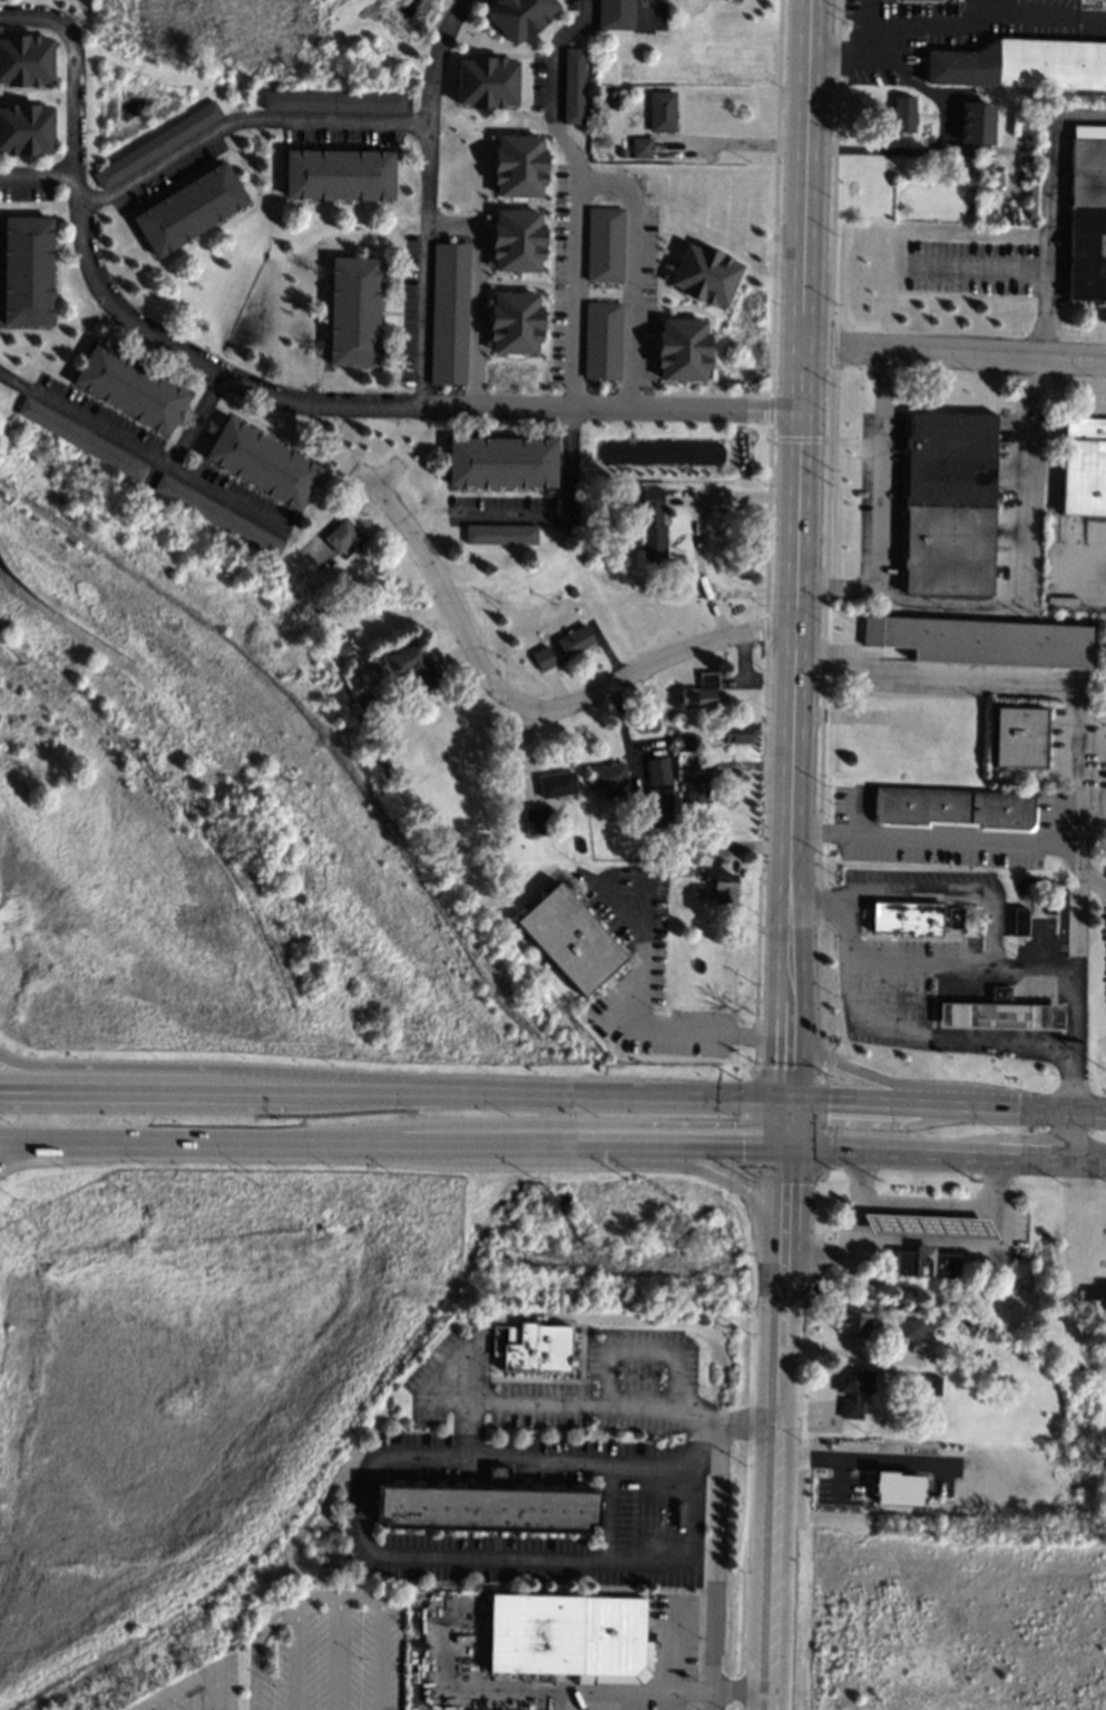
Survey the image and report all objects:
building: (735, 0)
building: (926, 0)
road: (998, 4)
building: (615, 13)
road: (644, 16)
building: (519, 17)
road: (873, 26)
road: (940, 26)
building: (25, 60)
building: (1024, 62)
building: (486, 82)
building: (571, 86)
building: (333, 100)
building: (662, 110)
building: (901, 115)
road: (239, 121)
building: (976, 123)
building: (25, 130)
building: (156, 144)
building: (640, 147)
road: (939, 148)
building: (625, 152)
building: (517, 166)
building: (971, 169)
building: (337, 174)
road: (1054, 176)
road: (38, 178)
road: (577, 192)
road: (424, 195)
building: (189, 208)
building: (904, 208)
building: (1087, 221)
building: (516, 241)
building: (604, 244)
building: (27, 270)
road: (629, 274)
building: (704, 274)
road: (476, 291)
building: (353, 311)
building: (441, 313)
road: (1044, 319)
building: (513, 322)
building: (601, 340)
building: (682, 350)
road: (950, 354)
road: (265, 387)
building: (130, 388)
road: (200, 421)
building: (81, 438)
road: (144, 451)
building: (615, 452)
building: (262, 461)
building: (501, 461)
building: (1084, 466)
building: (948, 501)
road: (564, 507)
road: (877, 510)
building: (218, 515)
road: (795, 515)
building: (649, 522)
road: (695, 528)
building: (500, 532)
building: (343, 535)
road: (1015, 549)
building: (332, 563)
building: (310, 587)
building: (571, 590)
building: (340, 623)
building: (575, 639)
building: (980, 641)
building: (342, 645)
building: (542, 657)
building: (410, 659)
building: (368, 676)
road: (1009, 677)
road: (491, 687)
building: (698, 692)
building: (366, 698)
road: (1090, 717)
building: (647, 724)
building: (737, 731)
building: (909, 732)
building: (1018, 736)
building: (691, 742)
building: (681, 756)
building: (657, 771)
building: (607, 774)
building: (557, 784)
building: (610, 791)
building: (695, 791)
building: (952, 808)
building: (652, 815)
building: (536, 818)
road: (1090, 825)
road: (991, 841)
building: (579, 844)
building: (687, 849)
building: (684, 870)
road: (1089, 881)
building: (721, 886)
building: (696, 891)
building: (907, 917)
building: (1019, 920)
road: (996, 921)
building: (570, 938)
road: (922, 958)
building: (999, 1012)
road: (646, 1026)
road: (909, 1029)
road: (178, 1065)
road: (785, 1065)
road: (910, 1083)
road: (333, 1089)
road: (726, 1098)
traffic signals: (785, 1101)
road: (916, 1104)
road: (1076, 1110)
road: (546, 1122)
road: (874, 1123)
road: (784, 1124)
road: (1067, 1135)
road: (158, 1141)
road: (550, 1145)
road: (29, 1146)
traffic signals: (784, 1147)
road: (944, 1154)
road: (580, 1163)
road: (731, 1184)
road: (922, 1204)
road: (782, 1211)
building: (917, 1224)
road: (835, 1252)
building: (924, 1263)
building: (854, 1322)
building: (910, 1328)
building: (926, 1328)
building: (939, 1330)
building: (530, 1345)
road: (639, 1350)
road: (845, 1351)
road: (450, 1374)
parking lot: (564, 1384)
building: (932, 1385)
building: (851, 1389)
road: (594, 1403)
road: (746, 1427)
building: (897, 1447)
road: (566, 1456)
road: (853, 1459)
building: (952, 1470)
building: (851, 1485)
building: (897, 1488)
road: (774, 1492)
building: (486, 1507)
road: (609, 1507)
parking lot: (652, 1509)
building: (916, 1509)
road: (476, 1553)
road: (714, 1553)
building: (332, 1566)
road: (330, 1595)
building: (569, 1636)
road: (669, 1642)
road: (337, 1653)
parking lot: (332, 1658)
road: (295, 1660)
parking lot: (657, 1665)
road: (634, 1689)
road: (735, 1689)
road: (176, 1690)
road: (211, 1690)
parking lot: (209, 1696)
road: (712, 1700)
road: (168, 1702)
road: (734, 1707)

